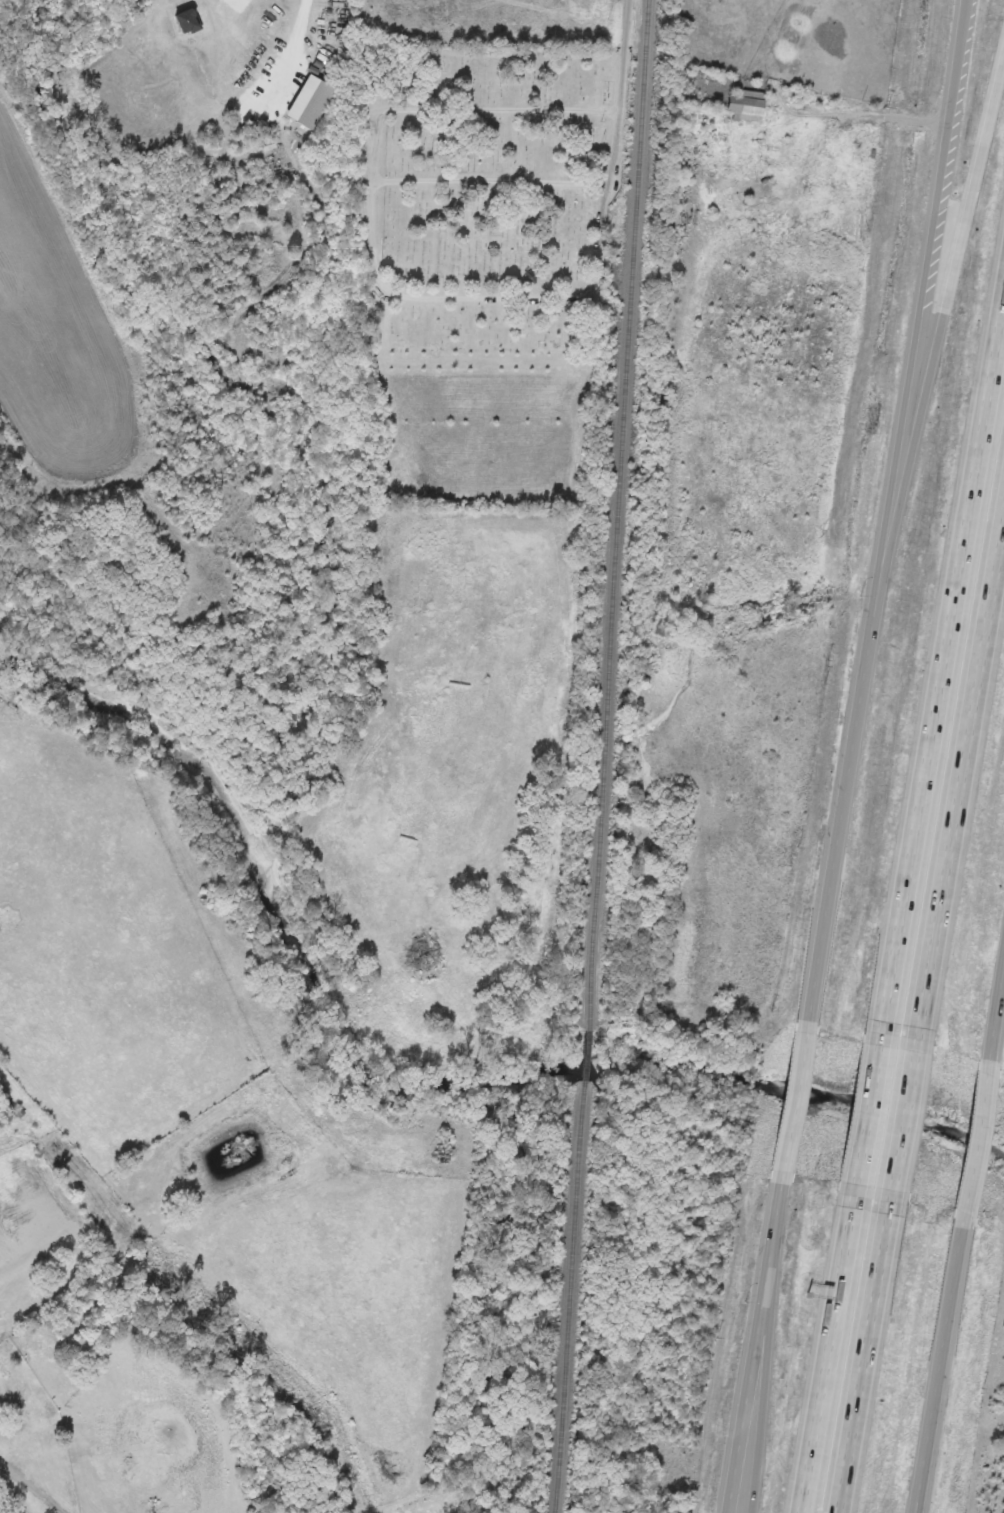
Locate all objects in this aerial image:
building: (186, 19)
road: (627, 56)
building: (309, 100)
building: (746, 103)
road: (440, 107)
park: (490, 262)
road: (935, 349)
road: (889, 510)
railway: (619, 513)
road: (940, 667)
road: (960, 783)
road: (996, 1013)
railway: (584, 1053)
road: (797, 1100)
road: (869, 1126)
road: (902, 1131)
road: (975, 1142)
railway: (573, 1296)
road: (756, 1346)
road: (833, 1361)
road: (771, 1363)
road: (864, 1363)
road: (944, 1369)
road: (929, 1450)

